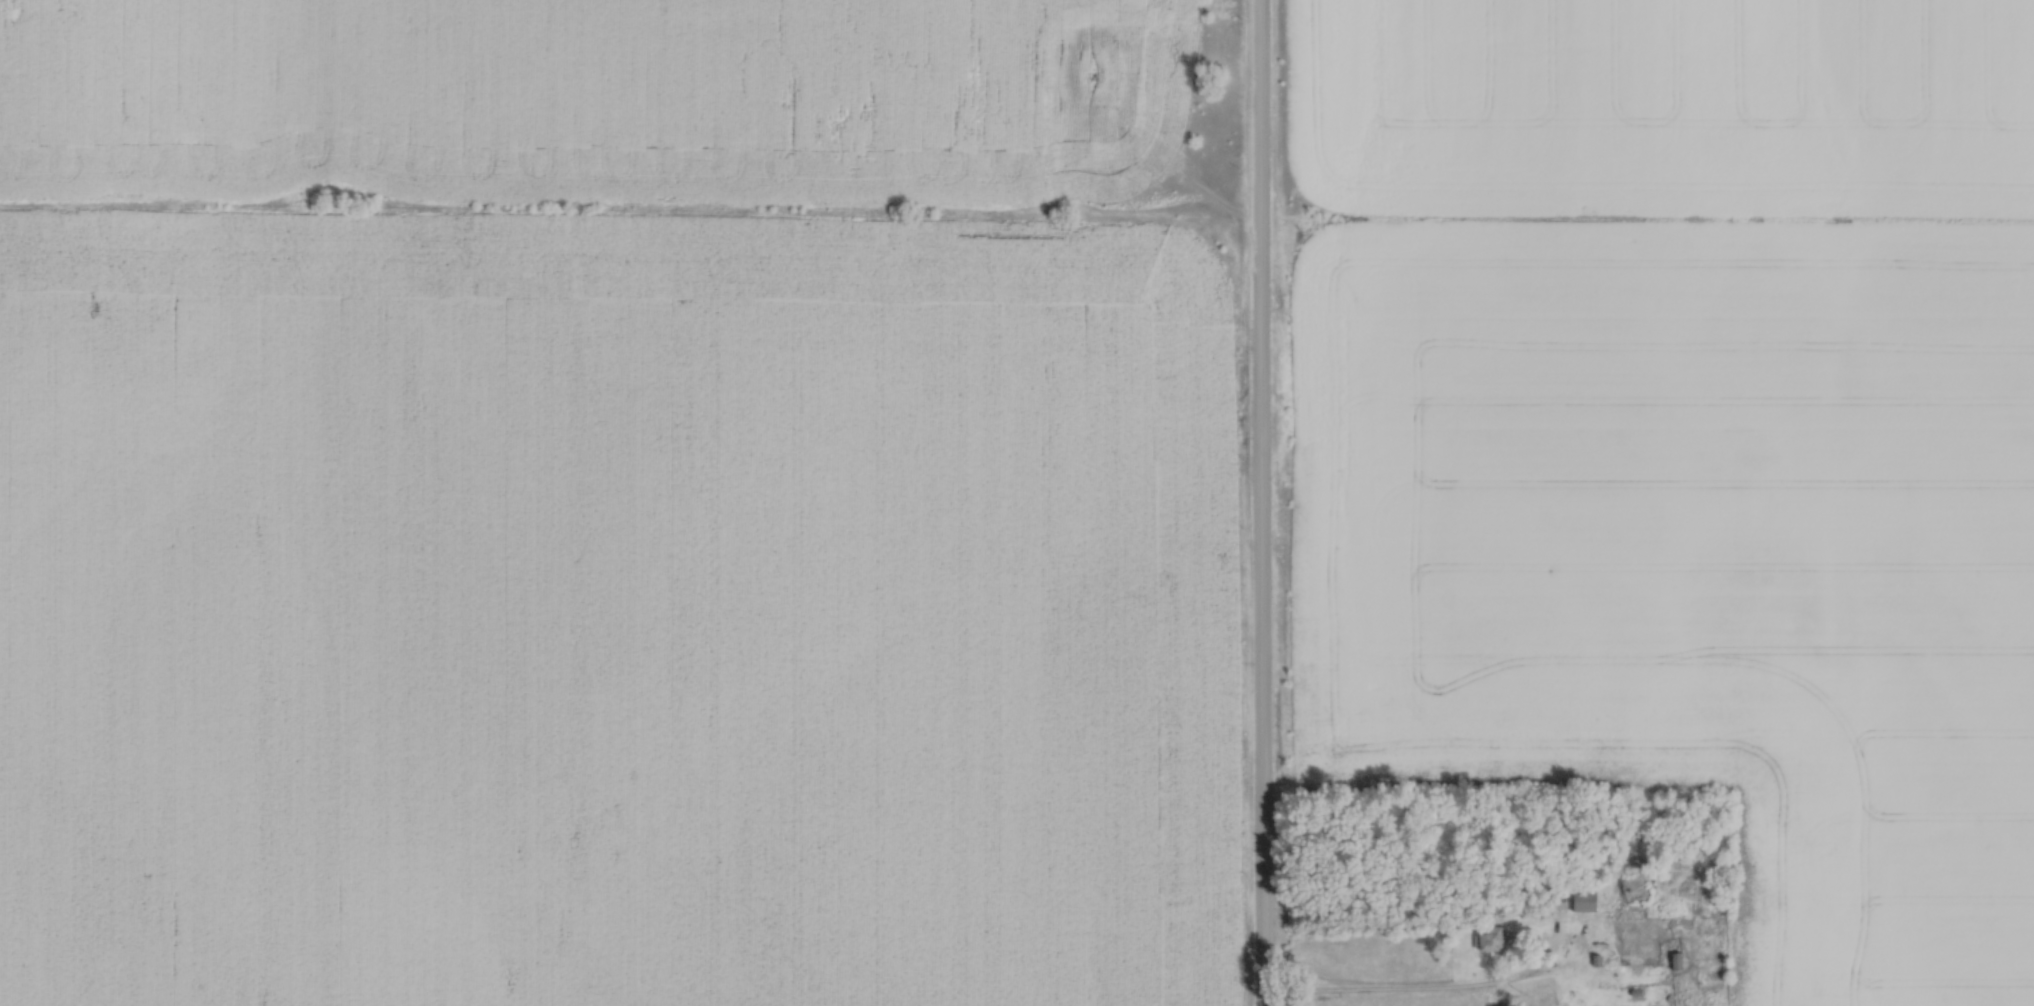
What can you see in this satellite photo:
road: (1259, 503)
building: (1590, 899)
building: (1639, 899)
building: (1495, 938)
road: (1407, 991)

